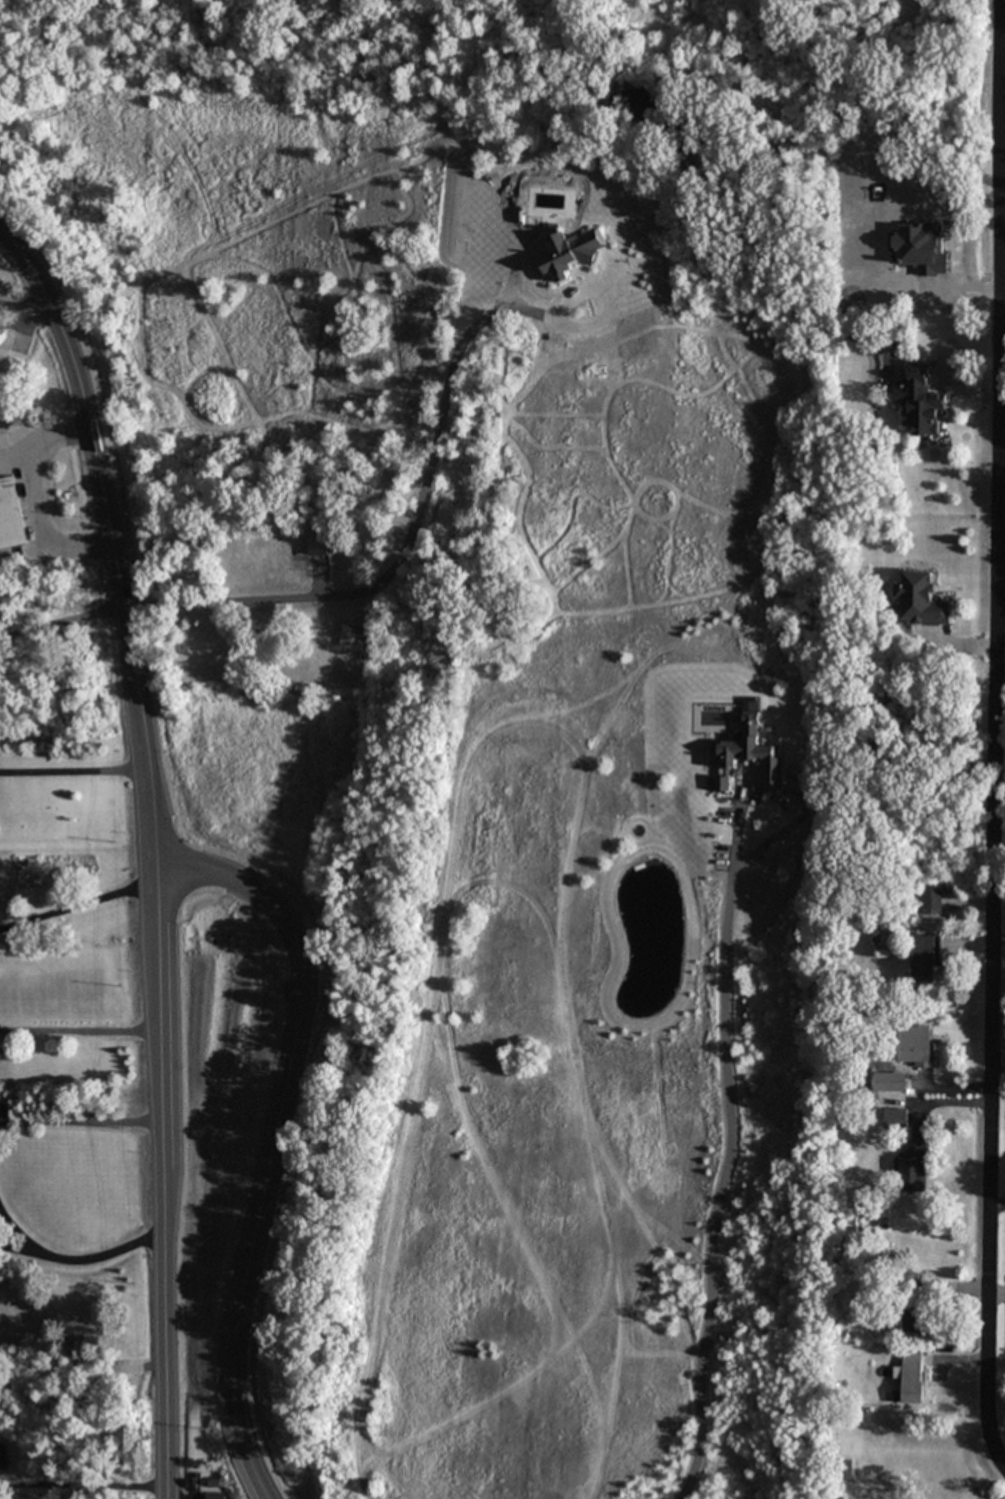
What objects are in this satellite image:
road: (26, 314)
building: (919, 401)
road: (32, 425)
road: (1002, 430)
road: (30, 497)
building: (10, 514)
building: (317, 541)
building: (252, 553)
building: (921, 598)
building: (354, 635)
building: (309, 654)
building: (292, 680)
road: (996, 735)
road: (75, 778)
road: (154, 850)
building: (931, 902)
road: (77, 904)
building: (924, 956)
road: (80, 1043)
building: (915, 1045)
road: (80, 1118)
road: (271, 1134)
road: (733, 1143)
building: (912, 1166)
road: (75, 1257)
road: (999, 1295)
building: (913, 1320)
building: (913, 1376)
road: (82, 1381)
building: (272, 1399)
building: (843, 1468)
road: (83, 1495)

